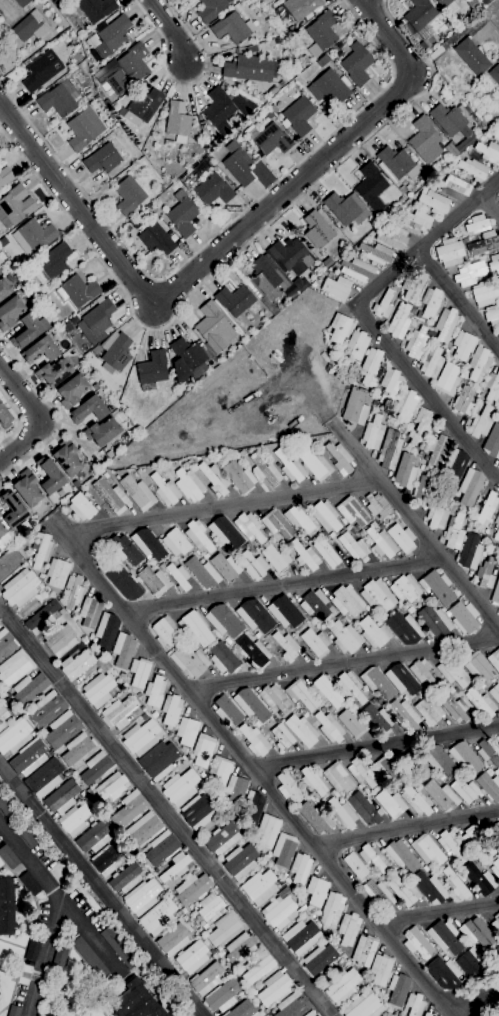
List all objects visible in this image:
building: (485, 1)
building: (56, 2)
building: (22, 3)
building: (448, 5)
building: (96, 8)
building: (297, 8)
building: (211, 9)
building: (421, 16)
building: (307, 19)
building: (449, 24)
building: (31, 26)
road: (170, 28)
building: (231, 28)
building: (321, 33)
building: (111, 35)
building: (267, 47)
building: (472, 56)
building: (305, 59)
building: (322, 60)
building: (357, 63)
building: (250, 68)
building: (42, 69)
building: (128, 69)
building: (495, 73)
road: (186, 82)
building: (234, 85)
building: (227, 87)
building: (329, 87)
building: (89, 95)
building: (489, 96)
building: (60, 98)
building: (107, 102)
building: (145, 104)
building: (218, 106)
building: (116, 107)
building: (269, 113)
building: (299, 115)
building: (178, 119)
building: (448, 119)
building: (224, 128)
building: (81, 131)
building: (497, 135)
building: (269, 138)
building: (425, 139)
building: (466, 142)
building: (488, 151)
building: (103, 158)
building: (399, 163)
building: (238, 164)
building: (474, 168)
building: (196, 171)
building: (457, 171)
building: (5, 176)
building: (372, 187)
building: (160, 188)
building: (403, 188)
building: (455, 188)
building: (214, 189)
building: (129, 195)
building: (434, 201)
building: (15, 205)
road: (490, 205)
building: (498, 207)
building: (347, 208)
building: (183, 214)
building: (417, 220)
building: (478, 224)
building: (318, 229)
road: (217, 233)
building: (33, 236)
building: (392, 236)
building: (155, 238)
road: (427, 240)
road: (226, 241)
building: (484, 243)
building: (450, 252)
building: (377, 253)
building: (292, 256)
road: (230, 257)
building: (55, 260)
building: (494, 263)
building: (357, 269)
building: (0, 271)
building: (316, 272)
building: (470, 273)
building: (269, 278)
building: (314, 284)
building: (415, 284)
building: (337, 288)
building: (4, 289)
building: (78, 290)
building: (485, 293)
road: (459, 296)
building: (237, 300)
building: (431, 302)
building: (383, 305)
building: (10, 312)
building: (492, 315)
building: (96, 319)
building: (75, 320)
building: (399, 321)
building: (446, 324)
building: (214, 328)
building: (340, 328)
building: (498, 329)
building: (27, 331)
building: (498, 332)
building: (417, 343)
building: (464, 345)
building: (357, 347)
building: (97, 349)
building: (41, 350)
building: (116, 352)
building: (189, 359)
building: (215, 359)
building: (432, 362)
building: (480, 364)
building: (372, 367)
building: (152, 370)
building: (54, 372)
building: (448, 379)
building: (390, 385)
building: (492, 386)
building: (72, 390)
road: (428, 392)
building: (464, 400)
building: (405, 405)
building: (356, 406)
building: (498, 407)
building: (89, 409)
road: (32, 413)
road: (58, 414)
building: (5, 417)
road: (18, 419)
building: (481, 422)
building: (421, 426)
building: (105, 429)
building: (374, 433)
building: (492, 442)
building: (405, 445)
building: (390, 449)
building: (438, 450)
building: (421, 452)
building: (426, 457)
building: (67, 458)
building: (340, 458)
building: (314, 462)
building: (454, 466)
building: (290, 467)
building: (422, 467)
building: (265, 470)
building: (405, 472)
building: (50, 475)
building: (239, 476)
building: (215, 479)
building: (76, 484)
building: (189, 485)
building: (470, 486)
building: (28, 488)
building: (166, 490)
building: (423, 491)
building: (138, 492)
building: (112, 496)
building: (378, 505)
building: (82, 506)
road: (220, 508)
building: (487, 508)
building: (13, 509)
building: (352, 512)
building: (438, 513)
building: (0, 515)
building: (326, 515)
building: (300, 519)
building: (469, 519)
building: (497, 519)
building: (0, 521)
road: (415, 523)
building: (25, 524)
building: (277, 524)
building: (249, 527)
building: (2, 530)
building: (225, 532)
building: (454, 532)
building: (332, 535)
building: (497, 535)
building: (198, 536)
building: (402, 538)
building: (179, 541)
building: (483, 541)
building: (281, 543)
building: (382, 543)
building: (148, 544)
building: (355, 546)
building: (488, 547)
building: (41, 549)
building: (124, 549)
building: (470, 551)
building: (327, 553)
building: (305, 555)
building: (206, 556)
building: (273, 558)
building: (253, 565)
building: (162, 566)
building: (226, 566)
building: (203, 572)
building: (57, 573)
building: (486, 573)
building: (41, 575)
building: (179, 576)
building: (154, 580)
building: (124, 582)
road: (284, 583)
building: (438, 586)
building: (20, 587)
building: (405, 588)
building: (74, 591)
building: (378, 595)
building: (495, 595)
building: (347, 600)
building: (315, 604)
building: (367, 608)
building: (402, 608)
building: (411, 610)
building: (90, 611)
building: (285, 611)
building: (42, 614)
building: (255, 615)
building: (414, 616)
building: (464, 617)
building: (224, 620)
building: (435, 621)
building: (280, 627)
building: (196, 628)
building: (404, 628)
building: (107, 630)
building: (166, 631)
building: (374, 632)
building: (217, 633)
building: (258, 635)
building: (92, 636)
building: (345, 636)
building: (60, 639)
building: (94, 640)
building: (228, 640)
building: (316, 642)
building: (6, 643)
building: (193, 644)
building: (286, 645)
building: (123, 650)
building: (253, 652)
building: (224, 658)
building: (102, 659)
building: (189, 660)
building: (494, 660)
road: (342, 661)
building: (77, 664)
building: (479, 667)
building: (15, 668)
building: (421, 670)
building: (453, 671)
building: (140, 672)
building: (402, 679)
building: (377, 682)
building: (124, 685)
building: (350, 686)
building: (29, 688)
building: (98, 690)
building: (451, 690)
building: (457, 690)
building: (482, 690)
building: (155, 691)
building: (326, 691)
building: (495, 692)
building: (425, 693)
building: (139, 694)
building: (301, 695)
building: (8, 699)
building: (275, 699)
building: (481, 703)
building: (251, 704)
building: (143, 708)
building: (455, 708)
building: (47, 709)
building: (171, 710)
building: (227, 710)
building: (429, 711)
building: (118, 712)
building: (25, 713)
building: (154, 714)
building: (406, 714)
building: (3, 717)
building: (145, 717)
building: (275, 717)
building: (378, 719)
building: (353, 722)
building: (257, 724)
building: (330, 727)
building: (63, 729)
building: (187, 731)
building: (301, 731)
building: (42, 733)
building: (14, 736)
building: (282, 736)
building: (141, 737)
road: (231, 740)
building: (255, 740)
building: (498, 744)
building: (78, 748)
building: (203, 750)
building: (489, 751)
building: (51, 753)
building: (29, 757)
building: (183, 757)
building: (465, 757)
building: (159, 760)
building: (440, 760)
building: (416, 765)
building: (97, 768)
building: (390, 769)
building: (71, 771)
building: (220, 771)
building: (497, 771)
building: (361, 772)
building: (67, 774)
building: (203, 775)
building: (498, 775)
building: (441, 776)
building: (44, 778)
building: (338, 778)
building: (312, 781)
building: (203, 782)
building: (489, 785)
building: (359, 786)
building: (110, 787)
building: (181, 787)
building: (290, 787)
building: (376, 789)
building: (236, 790)
building: (466, 790)
building: (87, 792)
building: (83, 793)
building: (441, 795)
building: (62, 797)
building: (88, 798)
building: (311, 798)
building: (316, 799)
building: (417, 800)
building: (391, 803)
building: (7, 808)
building: (252, 808)
building: (365, 808)
building: (129, 809)
building: (200, 810)
road: (166, 812)
building: (343, 813)
building: (316, 817)
building: (75, 819)
building: (144, 828)
building: (268, 830)
building: (242, 832)
building: (114, 833)
building: (496, 834)
building: (28, 835)
road: (358, 835)
building: (94, 836)
building: (223, 839)
building: (478, 840)
building: (454, 845)
building: (162, 848)
building: (284, 849)
building: (428, 850)
building: (131, 852)
building: (269, 854)
building: (401, 855)
building: (9, 857)
building: (375, 858)
building: (108, 859)
building: (240, 861)
building: (356, 865)
building: (176, 867)
building: (456, 867)
building: (495, 867)
building: (300, 868)
building: (426, 868)
building: (152, 870)
building: (284, 875)
building: (378, 875)
building: (126, 878)
building: (480, 879)
building: (287, 880)
building: (455, 884)
building: (260, 887)
building: (430, 888)
building: (193, 889)
road: (102, 890)
building: (169, 891)
building: (317, 891)
building: (404, 891)
building: (162, 894)
building: (379, 894)
building: (142, 897)
road: (62, 900)
building: (7, 906)
building: (210, 909)
building: (281, 909)
building: (184, 910)
building: (331, 910)
building: (307, 911)
building: (179, 912)
building: (158, 916)
building: (186, 918)
road: (388, 920)
building: (496, 923)
building: (319, 924)
building: (224, 928)
building: (349, 928)
building: (477, 932)
building: (338, 935)
building: (447, 935)
building: (301, 937)
building: (173, 939)
building: (417, 943)
building: (119, 947)
building: (240, 947)
building: (437, 947)
building: (35, 949)
building: (218, 949)
building: (364, 950)
building: (221, 953)
building: (495, 954)
building: (344, 955)
building: (60, 957)
building: (90, 957)
building: (193, 957)
road: (46, 958)
building: (320, 962)
building: (473, 966)
building: (259, 968)
building: (381, 968)
road: (416, 969)
building: (444, 972)
building: (206, 978)
building: (342, 985)
building: (275, 988)
building: (398, 989)
building: (245, 991)
building: (382, 992)
building: (222, 996)
building: (250, 997)
road: (471, 998)
building: (137, 1001)
building: (414, 1004)
building: (293, 1005)
building: (365, 1005)
building: (14, 1010)
building: (244, 1010)
building: (266, 1011)
building: (270, 1013)
building: (398, 1013)
building: (311, 1014)
building: (428, 1014)
building: (169, 1015)
building: (266, 1015)
building: (387, 1015)

